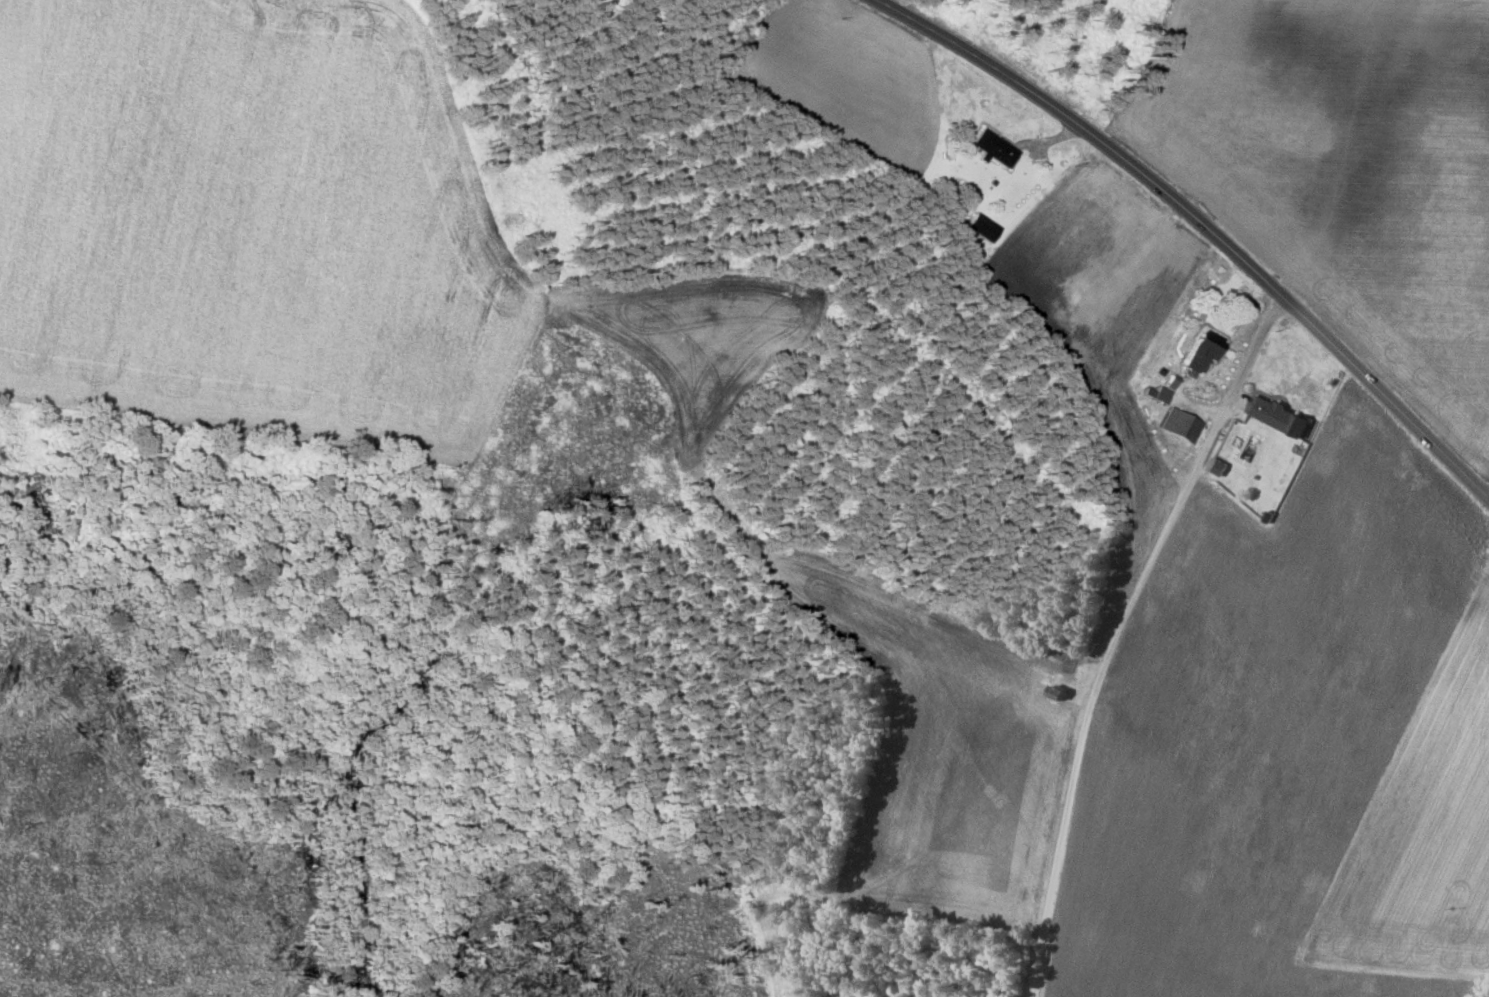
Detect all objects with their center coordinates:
building: (994, 148)
road: (1200, 225)
building: (982, 227)
building: (1203, 351)
building: (1158, 394)
building: (1276, 416)
building: (1181, 424)
building: (1216, 467)
road: (1115, 633)

